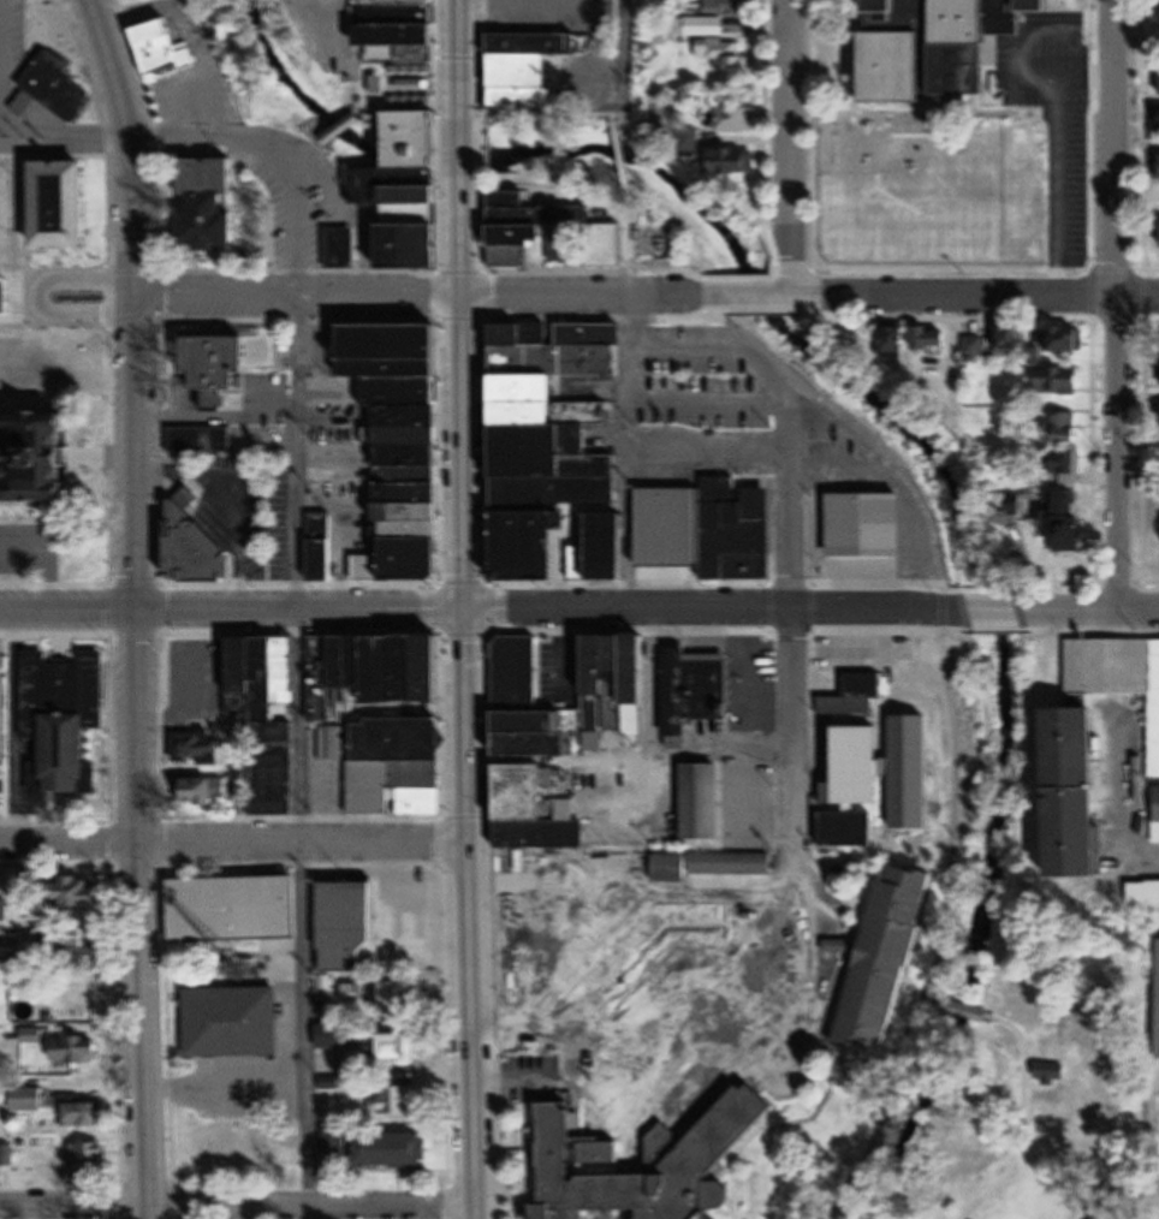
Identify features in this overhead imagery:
building: (727, 7)
building: (1051, 7)
parking lot: (1088, 22)
building: (1158, 25)
road: (349, 26)
building: (405, 36)
building: (974, 43)
building: (714, 47)
building: (164, 50)
road: (623, 50)
road: (1021, 50)
building: (899, 52)
road: (1, 66)
building: (529, 70)
parking lot: (5, 83)
building: (57, 93)
road: (492, 115)
building: (737, 121)
parking lot: (1056, 124)
building: (1157, 124)
road: (369, 130)
road: (339, 133)
road: (536, 137)
road: (239, 141)
building: (416, 143)
road: (129, 144)
road: (459, 144)
road: (786, 147)
road: (1116, 149)
road: (619, 159)
building: (732, 165)
road: (1057, 188)
building: (50, 207)
building: (213, 207)
building: (405, 222)
building: (551, 237)
road: (542, 291)
road: (672, 291)
road: (753, 292)
road: (40, 293)
road: (295, 293)
road: (973, 296)
building: (896, 338)
building: (931, 338)
building: (1069, 339)
building: (1009, 340)
road: (717, 343)
building: (974, 346)
building: (215, 364)
building: (1057, 380)
road: (709, 397)
building: (1062, 427)
flagpole: (89, 432)
building: (201, 440)
road: (1137, 442)
building: (406, 444)
road: (709, 445)
building: (8, 447)
building: (554, 450)
road: (625, 450)
road: (1117, 453)
building: (44, 454)
building: (1065, 506)
building: (868, 524)
building: (709, 529)
building: (191, 537)
road: (23, 553)
parking lot: (31, 553)
building: (325, 559)
road: (792, 602)
road: (232, 609)
road: (712, 609)
road: (995, 609)
traffic signals: (464, 611)
road: (1094, 611)
road: (945, 640)
building: (378, 670)
building: (517, 670)
building: (619, 673)
building: (1118, 677)
building: (726, 684)
building: (855, 696)
road: (649, 709)
building: (266, 713)
road: (344, 720)
building: (65, 723)
road: (13, 726)
building: (537, 735)
building: (594, 742)
building: (198, 748)
road: (721, 753)
road: (302, 755)
road: (465, 755)
road: (142, 756)
building: (398, 767)
building: (886, 771)
building: (204, 792)
building: (1076, 796)
building: (703, 802)
building: (537, 811)
building: (1157, 816)
building: (849, 829)
road: (233, 844)
building: (732, 864)
building: (671, 869)
road: (711, 880)
building: (79, 892)
building: (1145, 894)
building: (234, 909)
building: (2, 910)
road: (511, 922)
building: (712, 924)
building: (346, 926)
road: (598, 928)
building: (73, 945)
building: (779, 947)
building: (890, 961)
building: (376, 998)
building: (233, 1022)
road: (789, 1022)
building: (32, 1036)
building: (337, 1036)
building: (399, 1046)
building: (77, 1049)
road: (513, 1075)
road: (604, 1080)
park: (1045, 1083)
building: (25, 1099)
building: (397, 1100)
building: (84, 1112)
building: (393, 1149)
building: (586, 1152)
building: (90, 1158)
road: (237, 1209)

